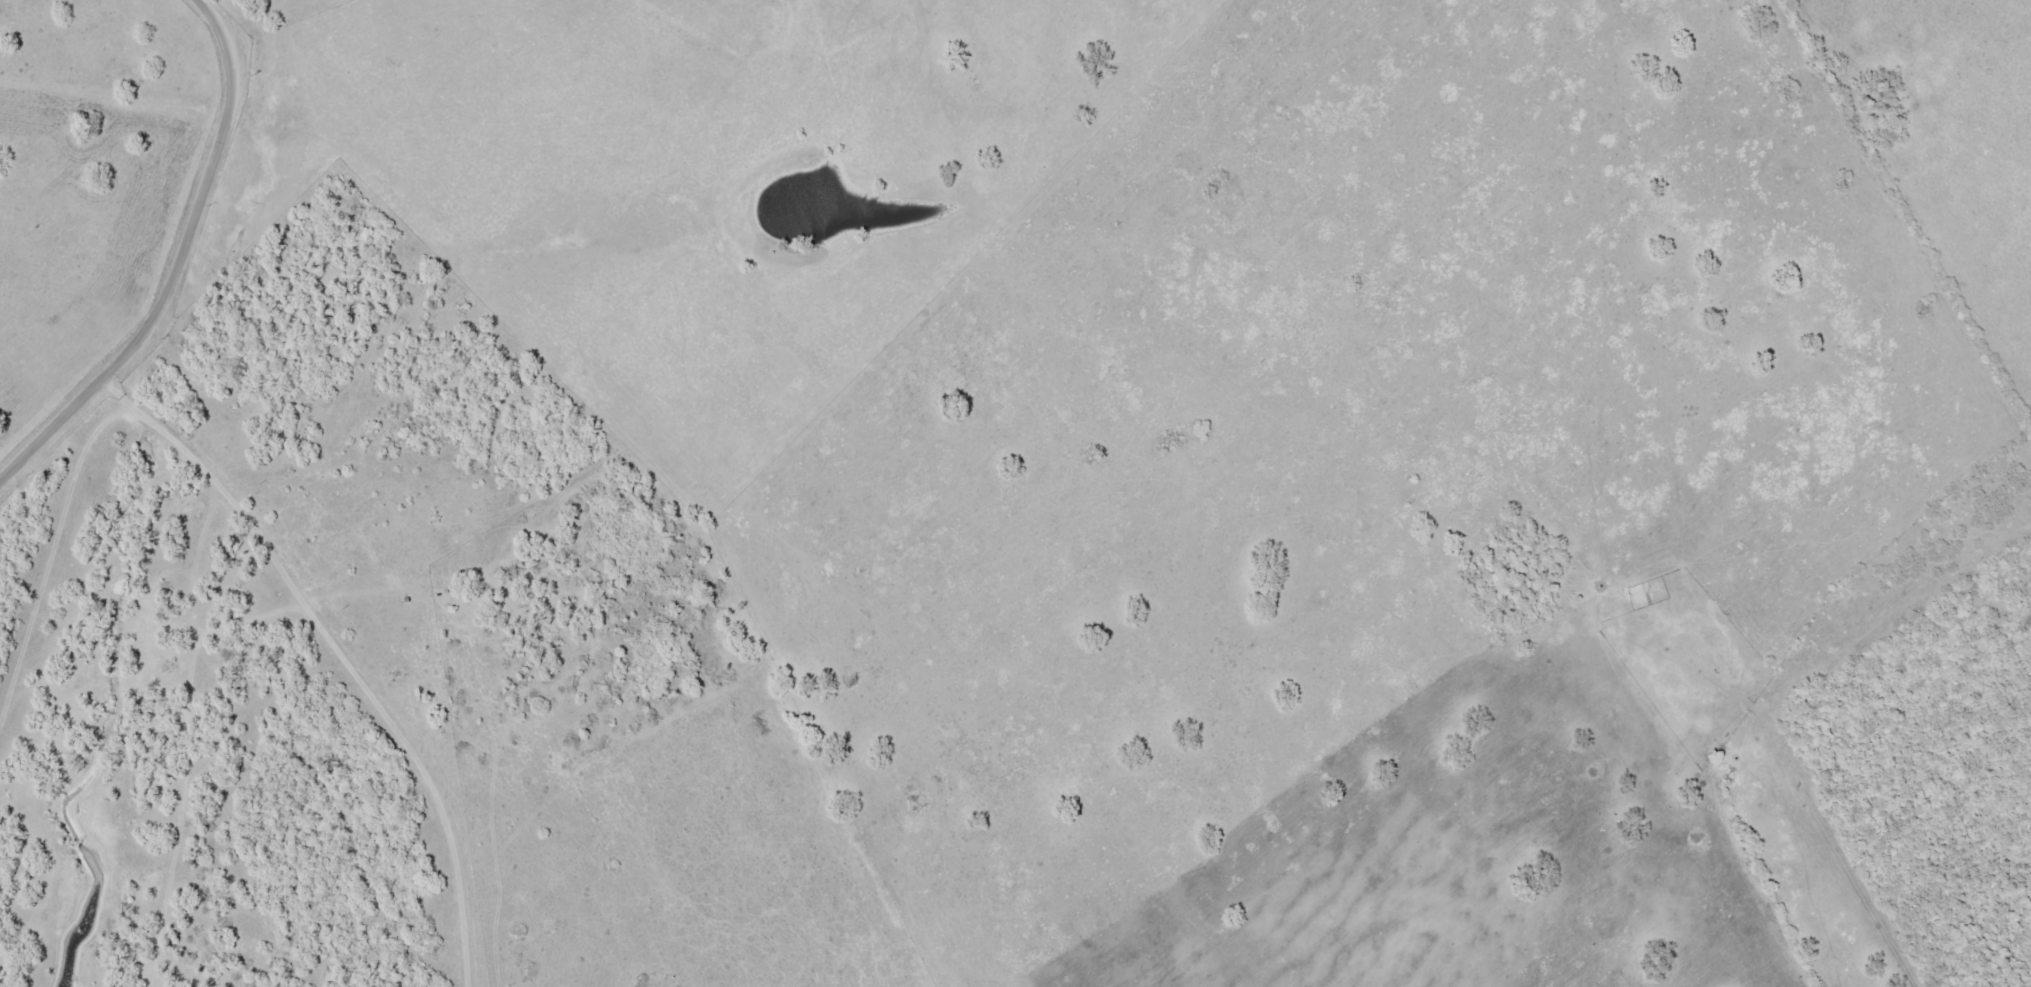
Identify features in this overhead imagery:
road: (178, 265)
road: (134, 424)

